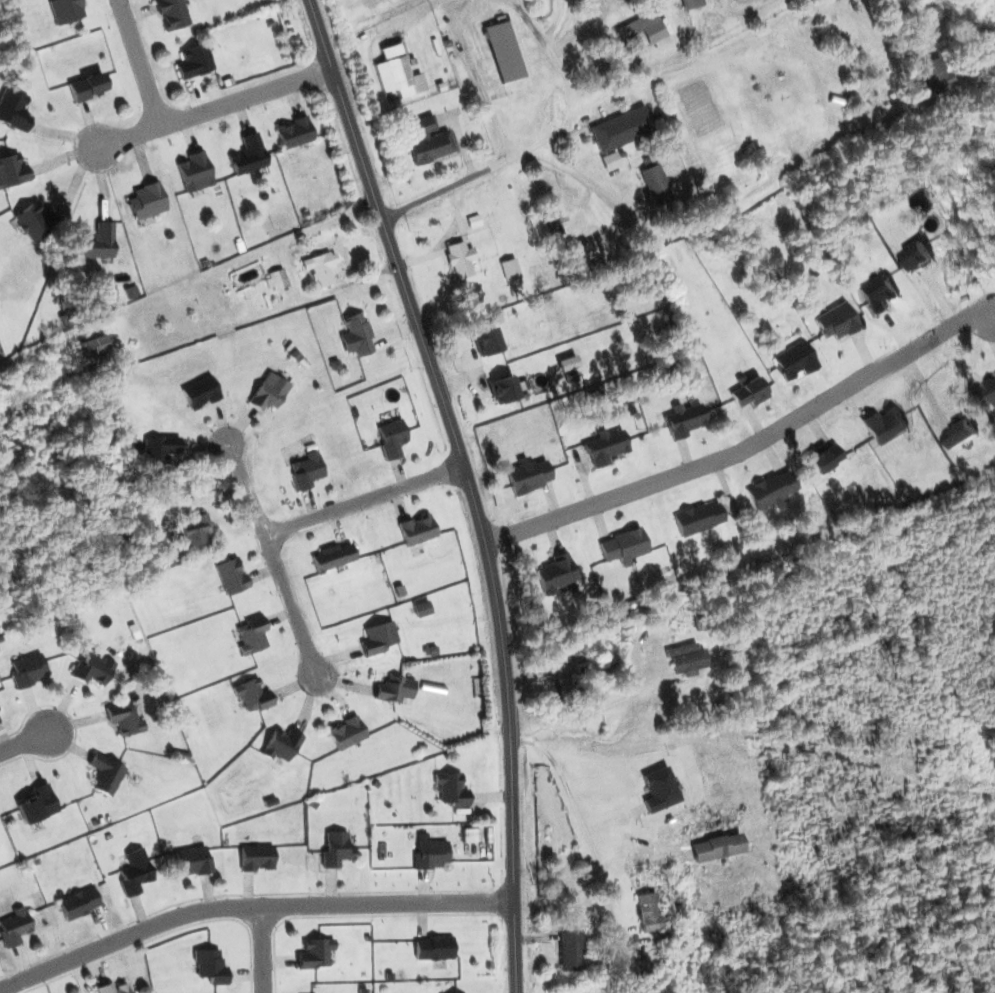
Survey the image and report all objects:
building: (690, 3)
building: (66, 10)
building: (172, 13)
building: (642, 27)
road: (864, 27)
building: (505, 51)
building: (194, 61)
road: (140, 62)
building: (397, 72)
road: (556, 72)
building: (935, 75)
building: (86, 86)
road: (215, 108)
building: (13, 109)
building: (621, 128)
building: (294, 132)
building: (429, 141)
building: (248, 154)
building: (12, 170)
building: (194, 171)
road: (584, 178)
road: (459, 179)
building: (656, 184)
building: (924, 199)
building: (146, 201)
building: (33, 220)
building: (553, 222)
building: (918, 255)
building: (459, 259)
building: (321, 267)
building: (509, 269)
building: (276, 279)
building: (879, 293)
building: (837, 321)
building: (356, 335)
building: (487, 341)
building: (93, 349)
building: (795, 360)
building: (991, 388)
building: (505, 389)
building: (200, 392)
building: (269, 392)
building: (749, 392)
building: (684, 420)
building: (885, 424)
building: (962, 431)
building: (391, 437)
building: (606, 447)
road: (741, 447)
building: (159, 449)
building: (824, 457)
building: (306, 470)
building: (528, 475)
road: (470, 485)
building: (772, 490)
road: (365, 501)
building: (699, 518)
building: (195, 530)
building: (417, 530)
building: (624, 546)
building: (332, 557)
road: (276, 562)
building: (556, 574)
building: (231, 576)
building: (421, 608)
building: (251, 635)
building: (377, 638)
building: (687, 658)
building: (28, 669)
building: (93, 669)
building: (563, 685)
building: (394, 689)
building: (252, 695)
building: (124, 718)
building: (346, 732)
road: (22, 742)
building: (282, 744)
building: (105, 773)
building: (451, 789)
building: (659, 789)
building: (36, 804)
road: (581, 821)
building: (470, 834)
building: (717, 847)
building: (336, 848)
building: (431, 853)
building: (256, 857)
building: (192, 860)
building: (134, 871)
building: (78, 903)
road: (249, 905)
building: (648, 912)
building: (14, 926)
road: (269, 948)
building: (434, 948)
building: (570, 951)
building: (315, 953)
building: (210, 966)
building: (112, 988)

